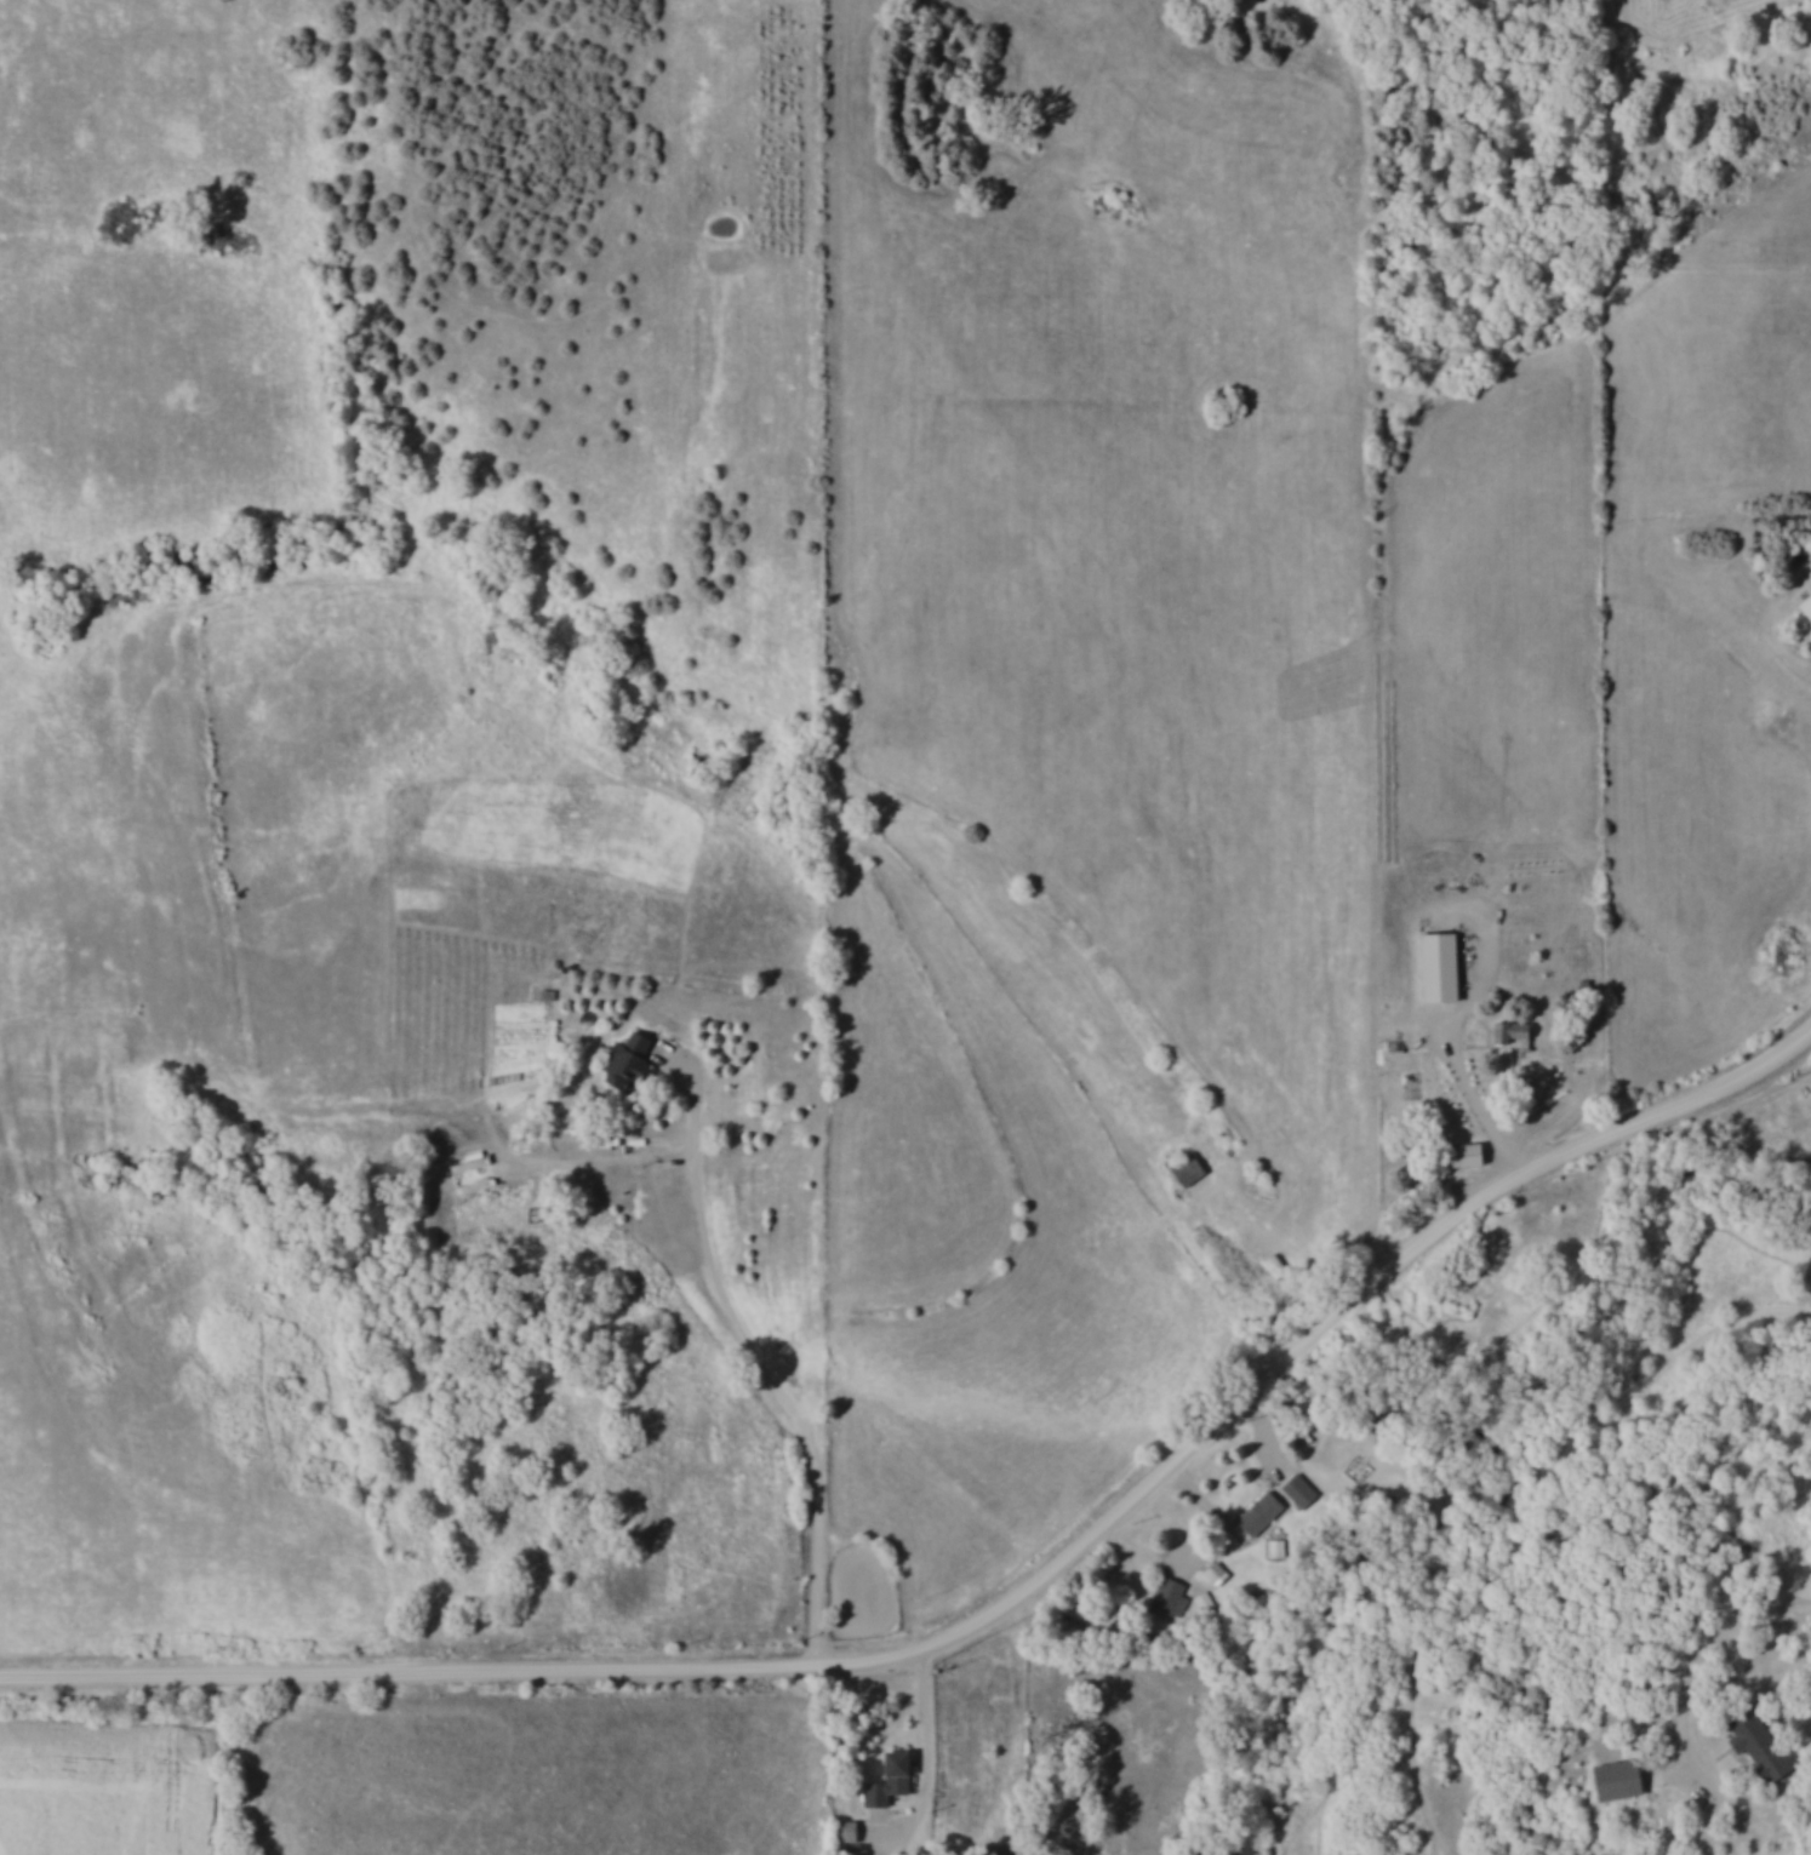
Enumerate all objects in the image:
building: (1805, 607)
building: (1449, 967)
building: (1520, 1031)
building: (638, 1063)
road: (1479, 1107)
building: (1193, 1169)
road: (765, 1363)
building: (1278, 1508)
building: (1222, 1578)
building: (1173, 1596)
road: (998, 1620)
road: (1697, 1654)
building: (1765, 1746)
road: (933, 1758)
building: (897, 1780)
building: (1627, 1780)

